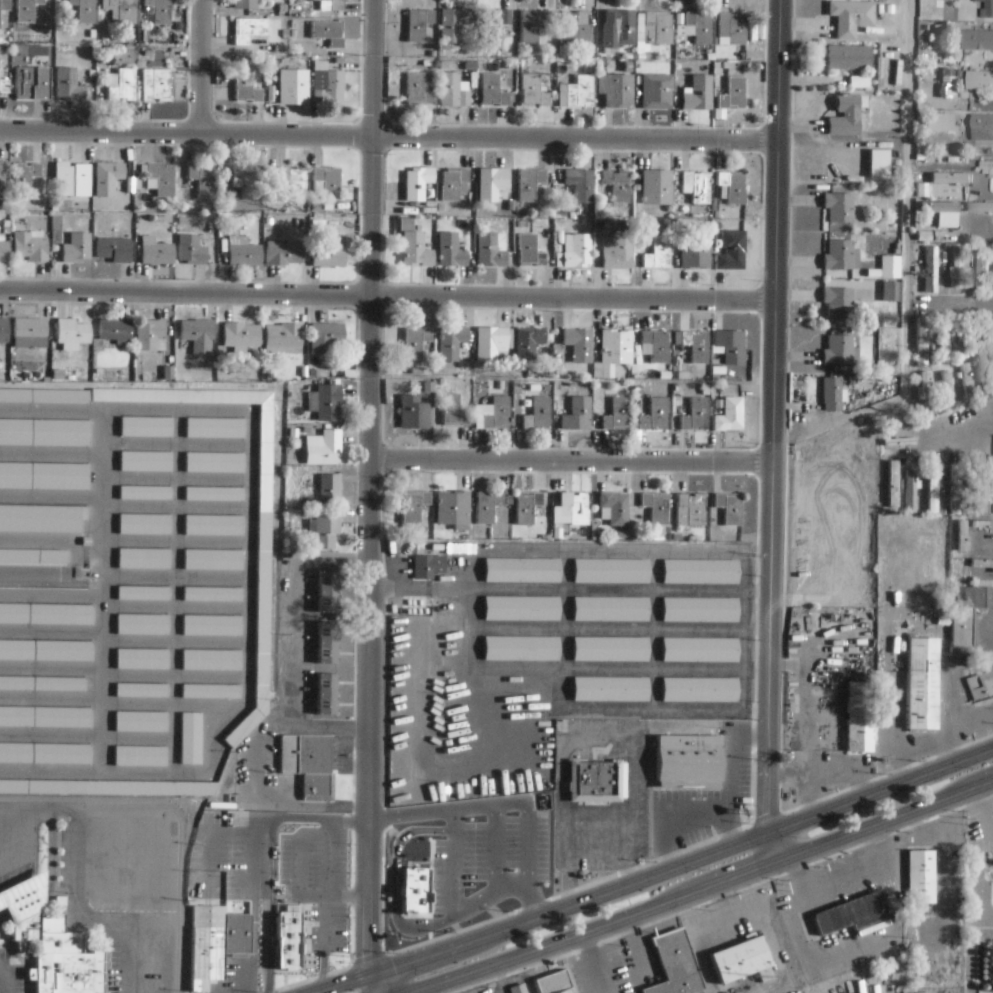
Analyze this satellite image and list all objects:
building: (4, 5)
building: (336, 5)
building: (244, 6)
building: (988, 9)
building: (25, 10)
building: (84, 10)
building: (124, 10)
building: (160, 11)
building: (852, 17)
building: (419, 24)
building: (453, 24)
building: (494, 24)
building: (531, 25)
building: (700, 26)
building: (574, 27)
building: (735, 27)
building: (618, 28)
building: (654, 28)
building: (248, 29)
building: (328, 32)
building: (979, 39)
building: (850, 57)
road: (200, 66)
building: (981, 80)
building: (31, 83)
building: (155, 84)
building: (327, 84)
building: (857, 84)
building: (68, 85)
building: (4, 86)
building: (123, 86)
building: (246, 87)
building: (293, 87)
building: (418, 90)
building: (453, 90)
building: (616, 90)
building: (493, 91)
building: (534, 91)
building: (658, 91)
building: (580, 92)
building: (699, 94)
building: (734, 94)
building: (846, 114)
building: (941, 122)
building: (983, 127)
road: (388, 137)
building: (987, 165)
building: (4, 169)
building: (24, 178)
building: (66, 178)
building: (107, 178)
building: (953, 178)
building: (161, 179)
building: (202, 179)
building: (293, 182)
building: (245, 183)
building: (328, 183)
building: (417, 183)
building: (454, 184)
building: (491, 184)
building: (530, 184)
building: (580, 184)
building: (618, 185)
building: (657, 187)
building: (699, 187)
building: (733, 187)
building: (840, 208)
building: (982, 208)
building: (944, 213)
building: (30, 246)
building: (75, 247)
building: (192, 247)
building: (491, 248)
building: (113, 250)
building: (416, 250)
building: (451, 251)
building: (575, 251)
building: (4, 252)
building: (155, 252)
building: (533, 252)
building: (617, 252)
building: (284, 253)
building: (659, 253)
building: (696, 253)
building: (732, 253)
building: (244, 255)
building: (842, 256)
building: (328, 257)
building: (957, 264)
building: (933, 266)
building: (888, 267)
building: (983, 267)
road: (905, 268)
building: (992, 281)
road: (387, 294)
building: (889, 294)
building: (840, 302)
building: (28, 328)
building: (115, 329)
building: (3, 330)
building: (196, 330)
building: (71, 332)
building: (327, 334)
building: (947, 335)
building: (150, 336)
building: (240, 336)
building: (283, 338)
building: (970, 340)
building: (416, 343)
building: (491, 343)
building: (531, 343)
building: (453, 344)
building: (923, 344)
building: (579, 345)
building: (657, 346)
building: (697, 346)
building: (731, 346)
building: (616, 347)
building: (840, 351)
building: (987, 374)
building: (969, 383)
building: (949, 388)
building: (929, 392)
building: (834, 394)
building: (43, 397)
building: (328, 403)
building: (453, 411)
building: (414, 414)
building: (493, 414)
building: (536, 414)
building: (578, 415)
building: (618, 415)
building: (656, 415)
building: (730, 415)
building: (696, 416)
road: (772, 416)
building: (144, 427)
building: (214, 429)
building: (43, 433)
building: (990, 447)
building: (323, 448)
road: (571, 459)
building: (144, 462)
building: (214, 464)
building: (44, 477)
building: (891, 485)
road: (371, 487)
building: (931, 489)
building: (329, 491)
building: (954, 491)
building: (909, 492)
building: (143, 494)
building: (213, 495)
building: (414, 506)
building: (487, 507)
building: (453, 508)
building: (577, 508)
building: (616, 508)
building: (657, 508)
building: (729, 508)
building: (694, 509)
building: (524, 511)
building: (40, 519)
building: (142, 524)
building: (212, 525)
building: (983, 525)
building: (326, 532)
building: (961, 536)
building: (84, 542)
building: (457, 550)
building: (261, 556)
building: (32, 557)
building: (211, 559)
building: (142, 560)
building: (982, 565)
building: (426, 567)
building: (521, 571)
building: (612, 572)
building: (701, 573)
building: (326, 593)
building: (142, 594)
building: (211, 595)
building: (519, 609)
building: (611, 610)
building: (701, 611)
building: (45, 615)
building: (141, 625)
building: (211, 626)
building: (960, 628)
building: (326, 644)
building: (519, 649)
building: (611, 650)
building: (700, 651)
building: (45, 652)
building: (140, 659)
building: (210, 660)
building: (41, 684)
building: (920, 685)
building: (980, 686)
building: (610, 690)
building: (140, 691)
building: (700, 691)
building: (209, 692)
building: (325, 696)
building: (44, 718)
building: (857, 718)
building: (139, 722)
building: (189, 740)
building: (44, 755)
building: (138, 757)
building: (687, 762)
building: (315, 768)
building: (595, 782)
building: (106, 789)
road: (882, 791)
road: (887, 823)
road: (776, 848)
building: (919, 878)
building: (445, 882)
road: (572, 905)
building: (850, 914)
road: (601, 928)
building: (286, 942)
building: (215, 944)
building: (60, 958)
building: (738, 960)
building: (673, 965)
road: (340, 983)
building: (552, 983)
road: (381, 984)
building: (517, 989)

